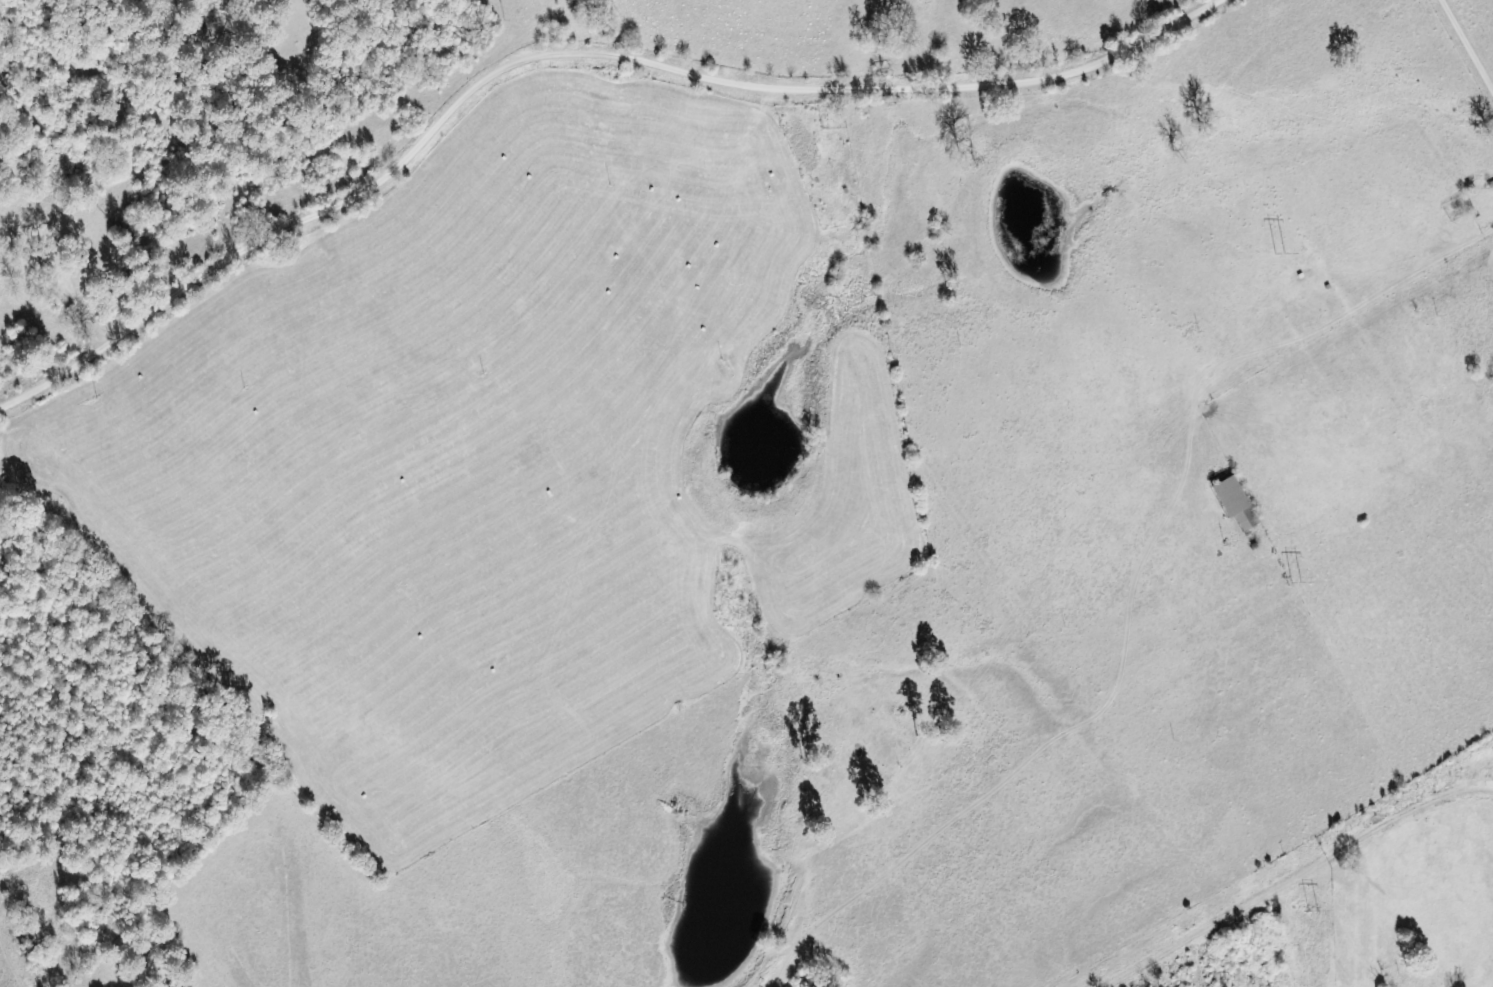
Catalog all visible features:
road: (566, 56)
power tower: (1279, 251)
building: (1232, 503)
power tower: (1296, 583)
power tower: (1312, 913)

